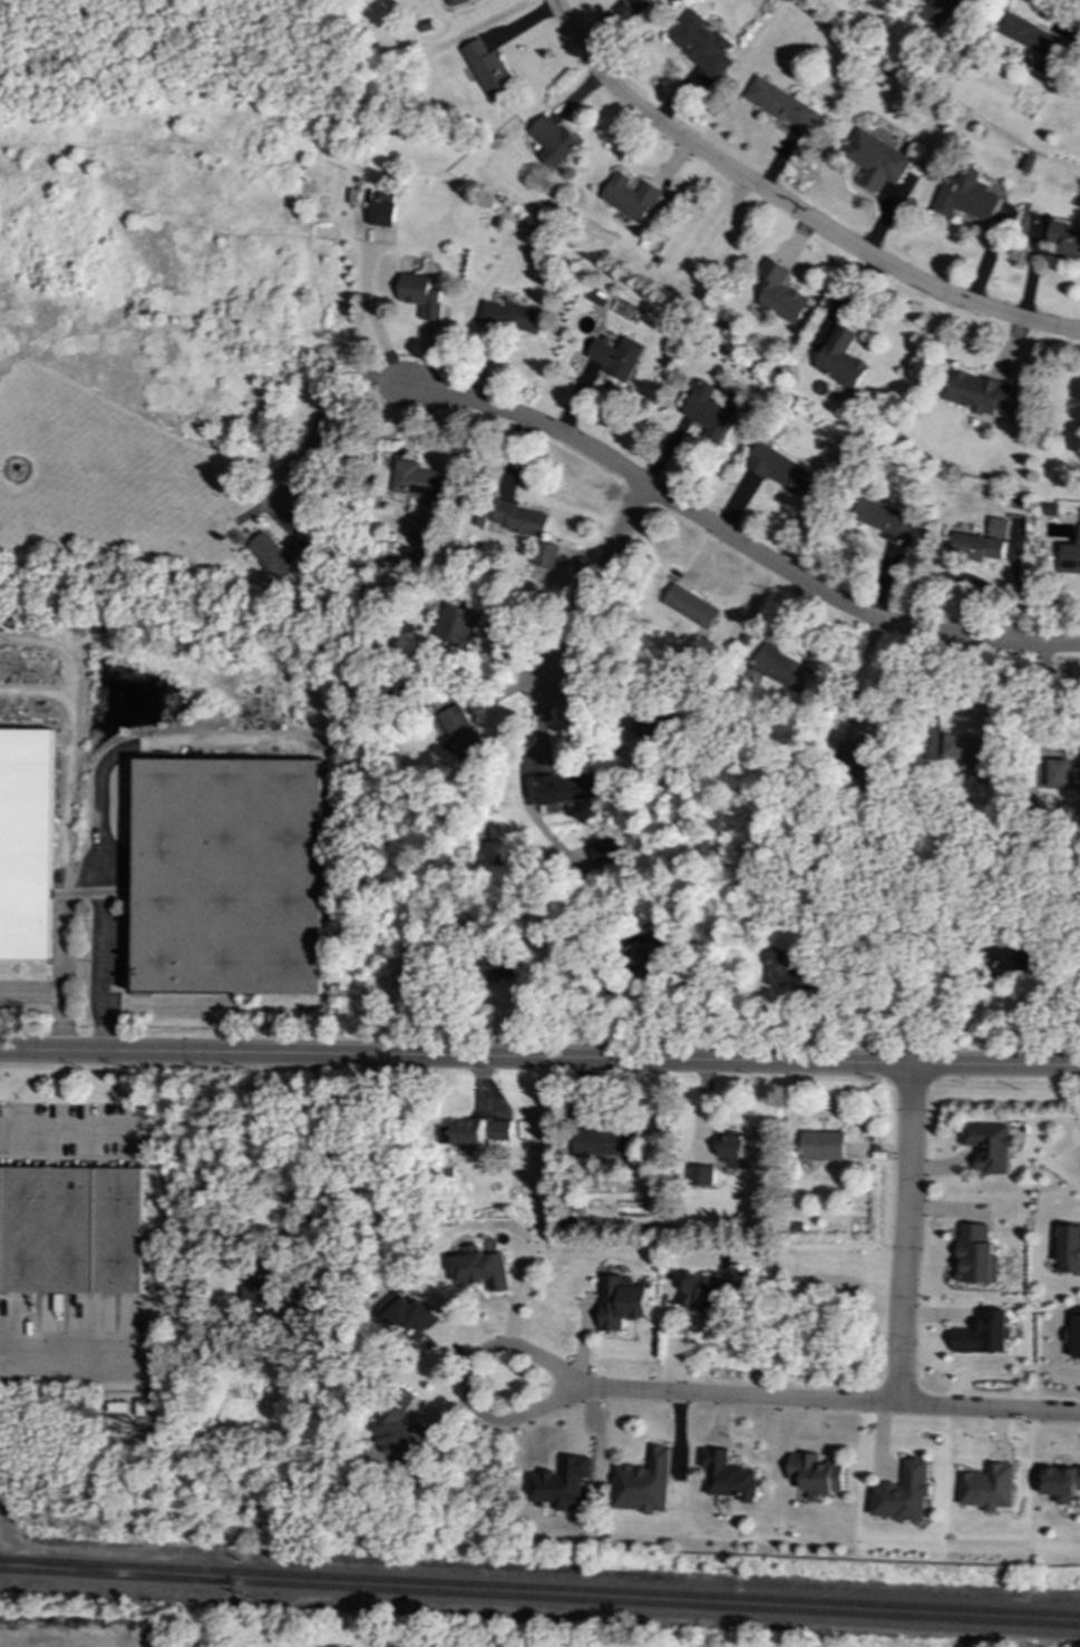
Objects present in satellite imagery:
building: (642, 0)
building: (457, 2)
building: (938, 11)
building: (1031, 38)
building: (701, 43)
building: (489, 70)
building: (782, 104)
building: (553, 140)
building: (876, 159)
building: (631, 196)
building: (965, 196)
road: (788, 207)
building: (378, 214)
building: (1064, 240)
building: (780, 293)
building: (422, 296)
building: (513, 316)
road: (374, 320)
building: (617, 357)
building: (840, 358)
building: (979, 392)
building: (710, 410)
building: (787, 472)
building: (419, 480)
building: (517, 519)
building: (887, 522)
road: (738, 542)
building: (983, 543)
building: (274, 555)
building: (1071, 557)
building: (548, 559)
road: (599, 587)
building: (693, 606)
building: (457, 626)
building: (784, 669)
road: (938, 690)
road: (33, 692)
building: (459, 731)
building: (648, 735)
building: (860, 750)
building: (973, 754)
building: (1063, 774)
building: (561, 789)
road: (64, 792)
building: (26, 844)
building: (603, 850)
road: (100, 866)
building: (228, 876)
road: (80, 890)
building: (646, 958)
building: (1019, 961)
building: (503, 968)
building: (788, 972)
road: (56, 1000)
road: (539, 1060)
road: (64, 1127)
building: (502, 1131)
building: (463, 1132)
building: (603, 1143)
building: (823, 1146)
building: (991, 1146)
building: (732, 1150)
road: (330, 1151)
building: (702, 1176)
building: (70, 1230)
road: (902, 1231)
building: (1070, 1249)
building: (977, 1255)
building: (481, 1268)
building: (275, 1294)
building: (704, 1294)
building: (621, 1303)
building: (407, 1313)
building: (985, 1334)
building: (1076, 1335)
road: (64, 1358)
road: (469, 1376)
road: (746, 1393)
road: (989, 1406)
building: (398, 1430)
building: (817, 1475)
building: (729, 1477)
building: (562, 1483)
building: (645, 1483)
building: (1062, 1483)
building: (990, 1488)
building: (905, 1493)
railway: (113, 1571)
railway: (113, 1576)
railway: (539, 1587)
railway: (653, 1604)

